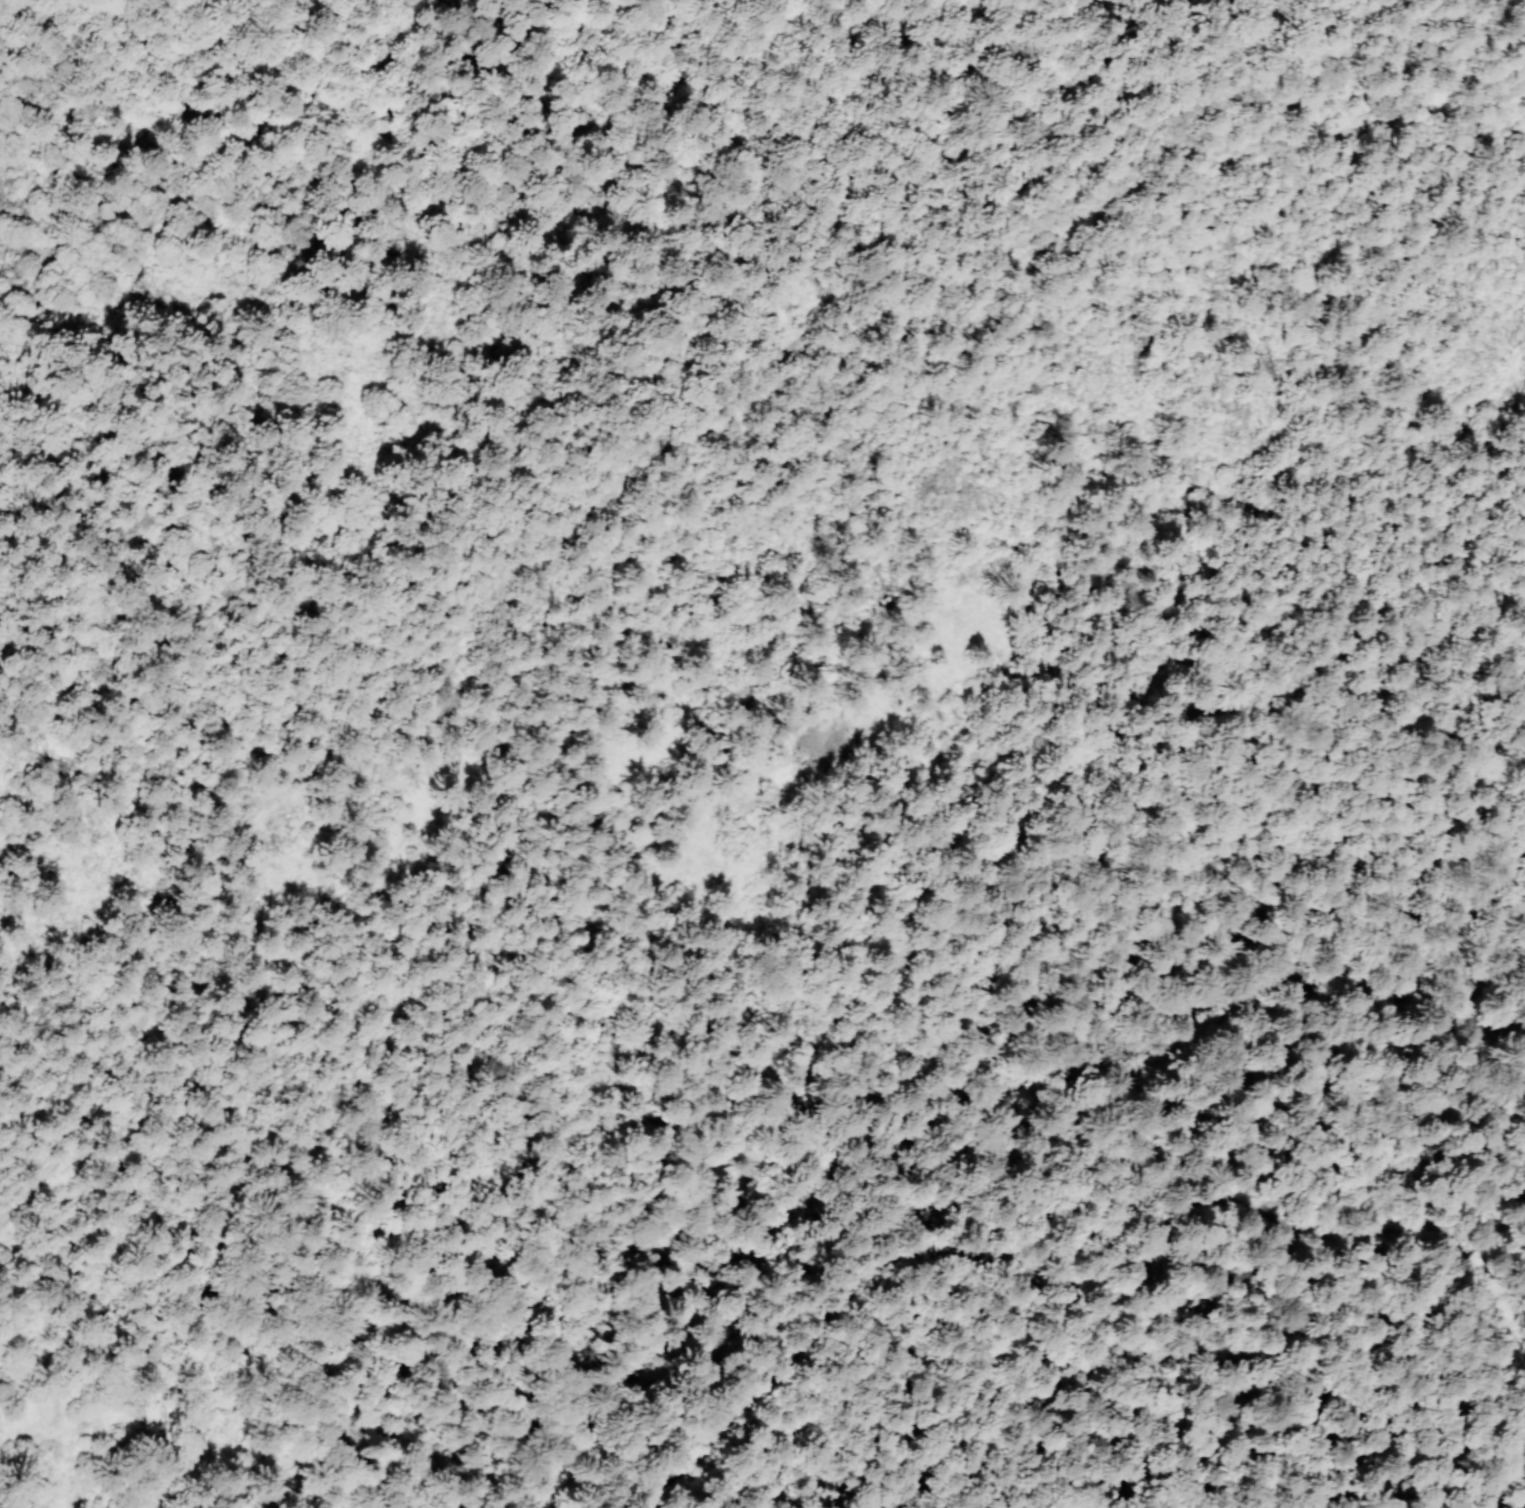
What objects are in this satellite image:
road: (641, 496)
road: (717, 924)
road: (1021, 1085)
road: (1282, 1217)
road: (1465, 1251)
road: (880, 1282)
road: (1022, 1311)
road: (1118, 1317)
road: (1177, 1358)
road: (620, 1426)
road: (923, 1436)
road: (1234, 1449)
road: (610, 1475)

